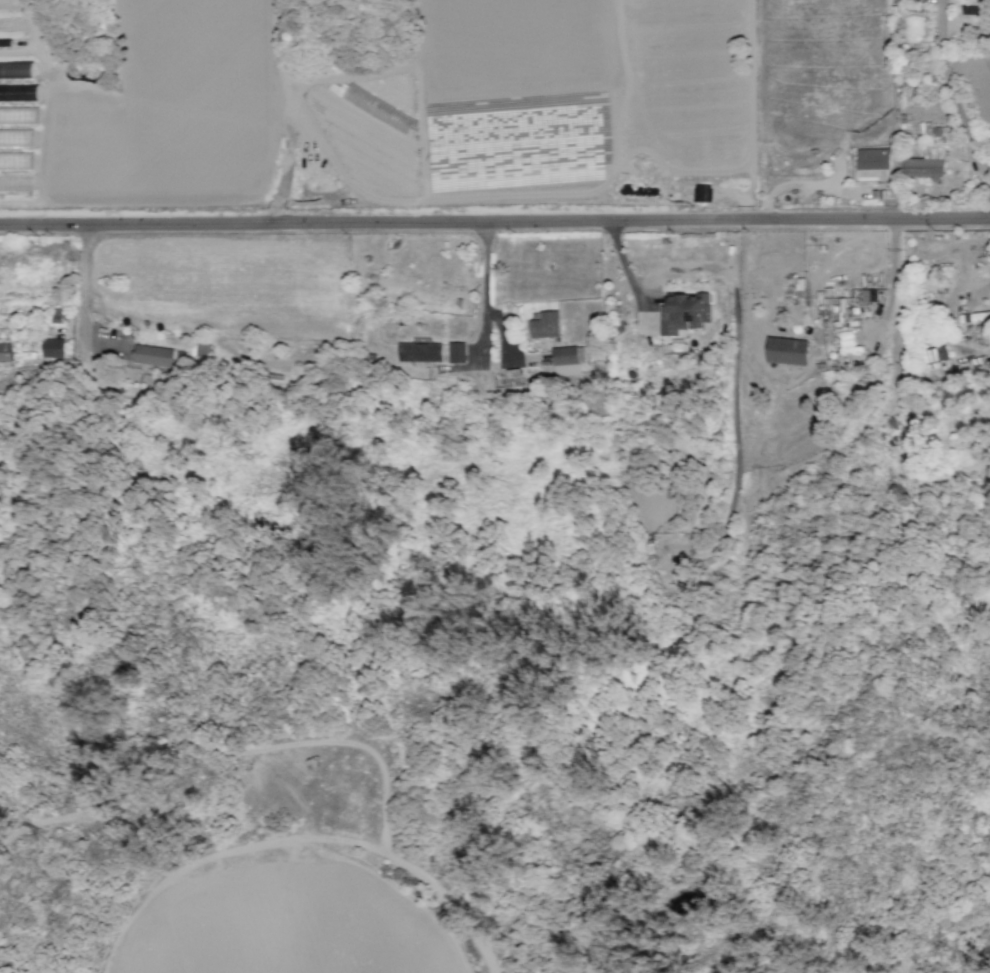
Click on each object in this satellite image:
road: (954, 91)
building: (6, 114)
building: (872, 162)
building: (925, 163)
building: (700, 192)
road: (494, 220)
road: (890, 292)
building: (684, 311)
building: (842, 312)
building: (55, 315)
building: (974, 317)
building: (544, 325)
road: (485, 331)
building: (847, 342)
building: (51, 348)
building: (786, 350)
building: (5, 352)
building: (419, 352)
building: (456, 352)
building: (152, 355)
building: (934, 358)
building: (567, 360)
building: (512, 377)
power tower: (41, 837)
crop: (291, 927)

